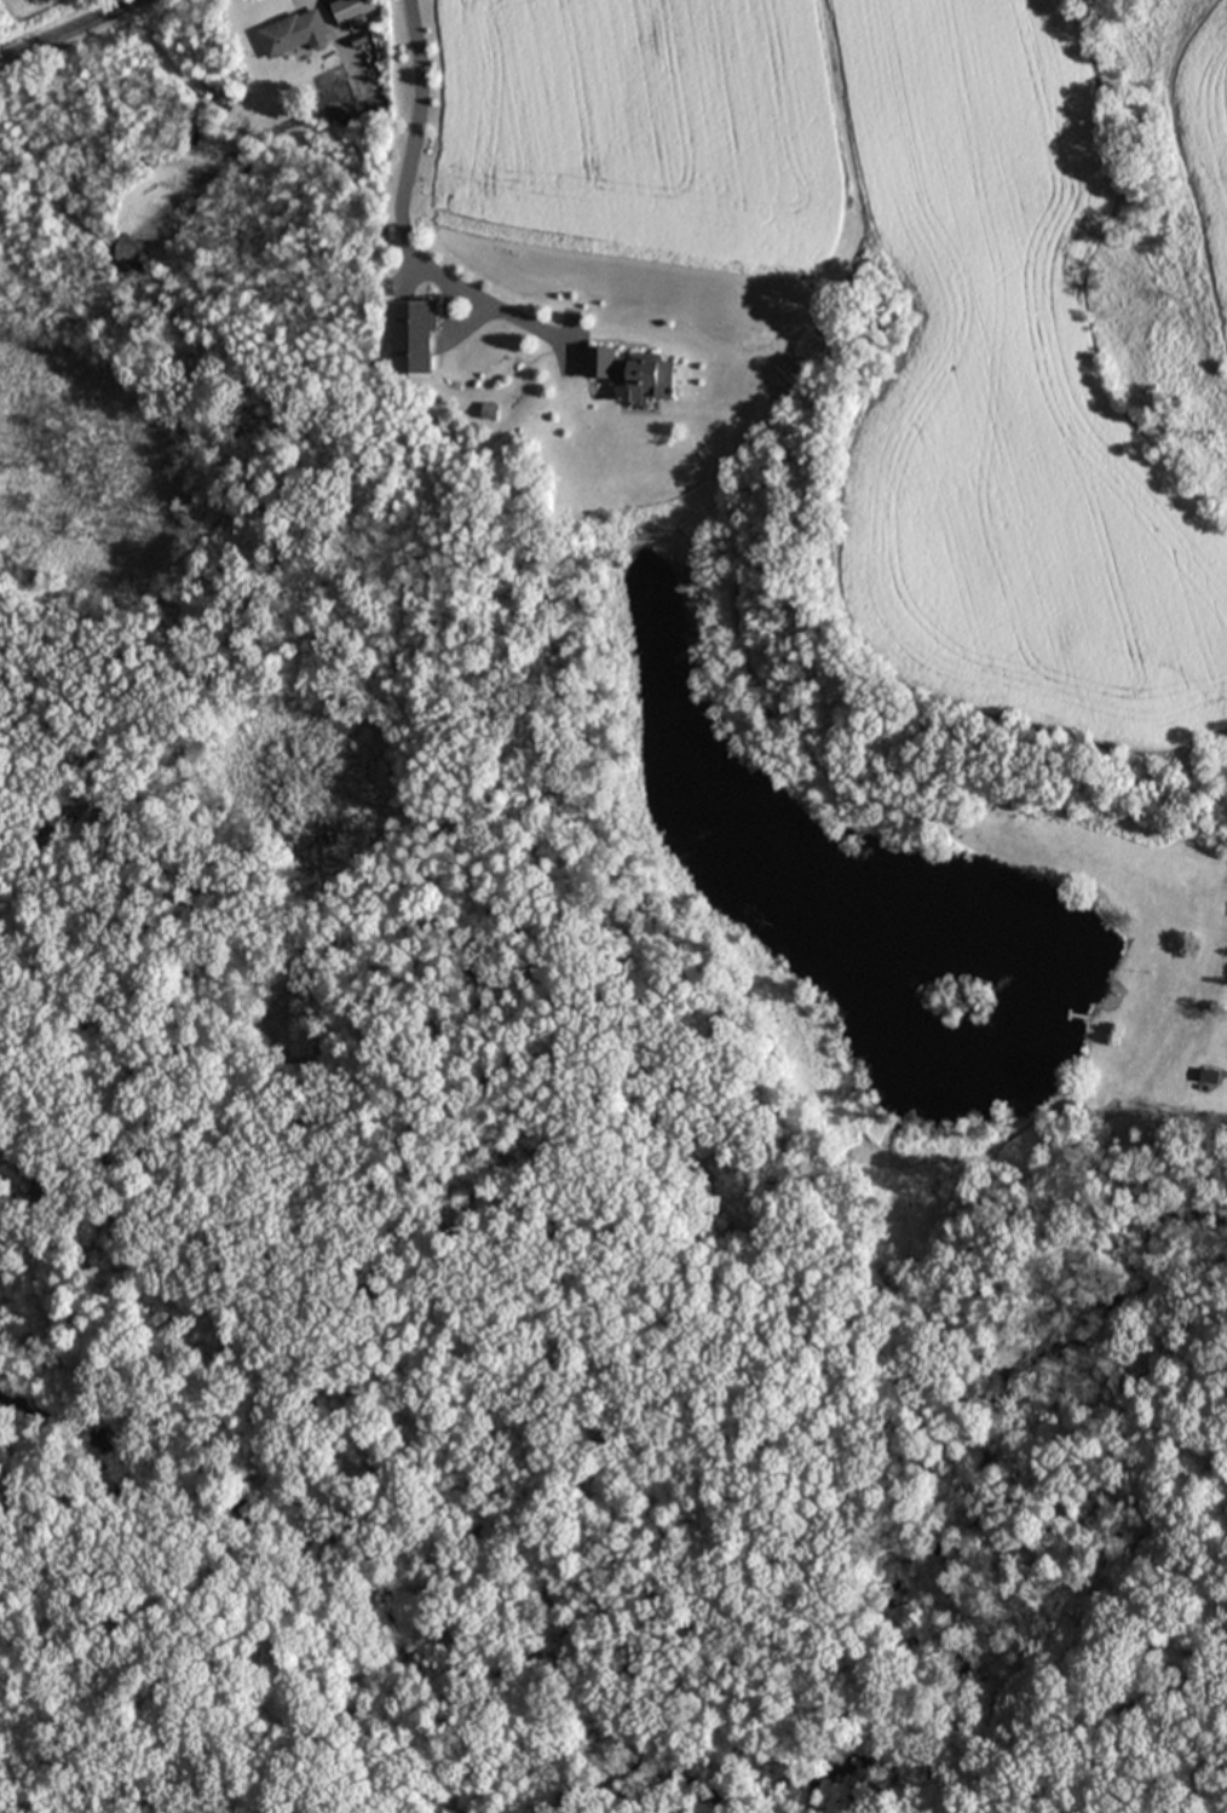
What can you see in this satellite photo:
building: (351, 8)
building: (292, 31)
road: (94, 41)
road: (403, 212)
building: (413, 335)
building: (632, 373)

